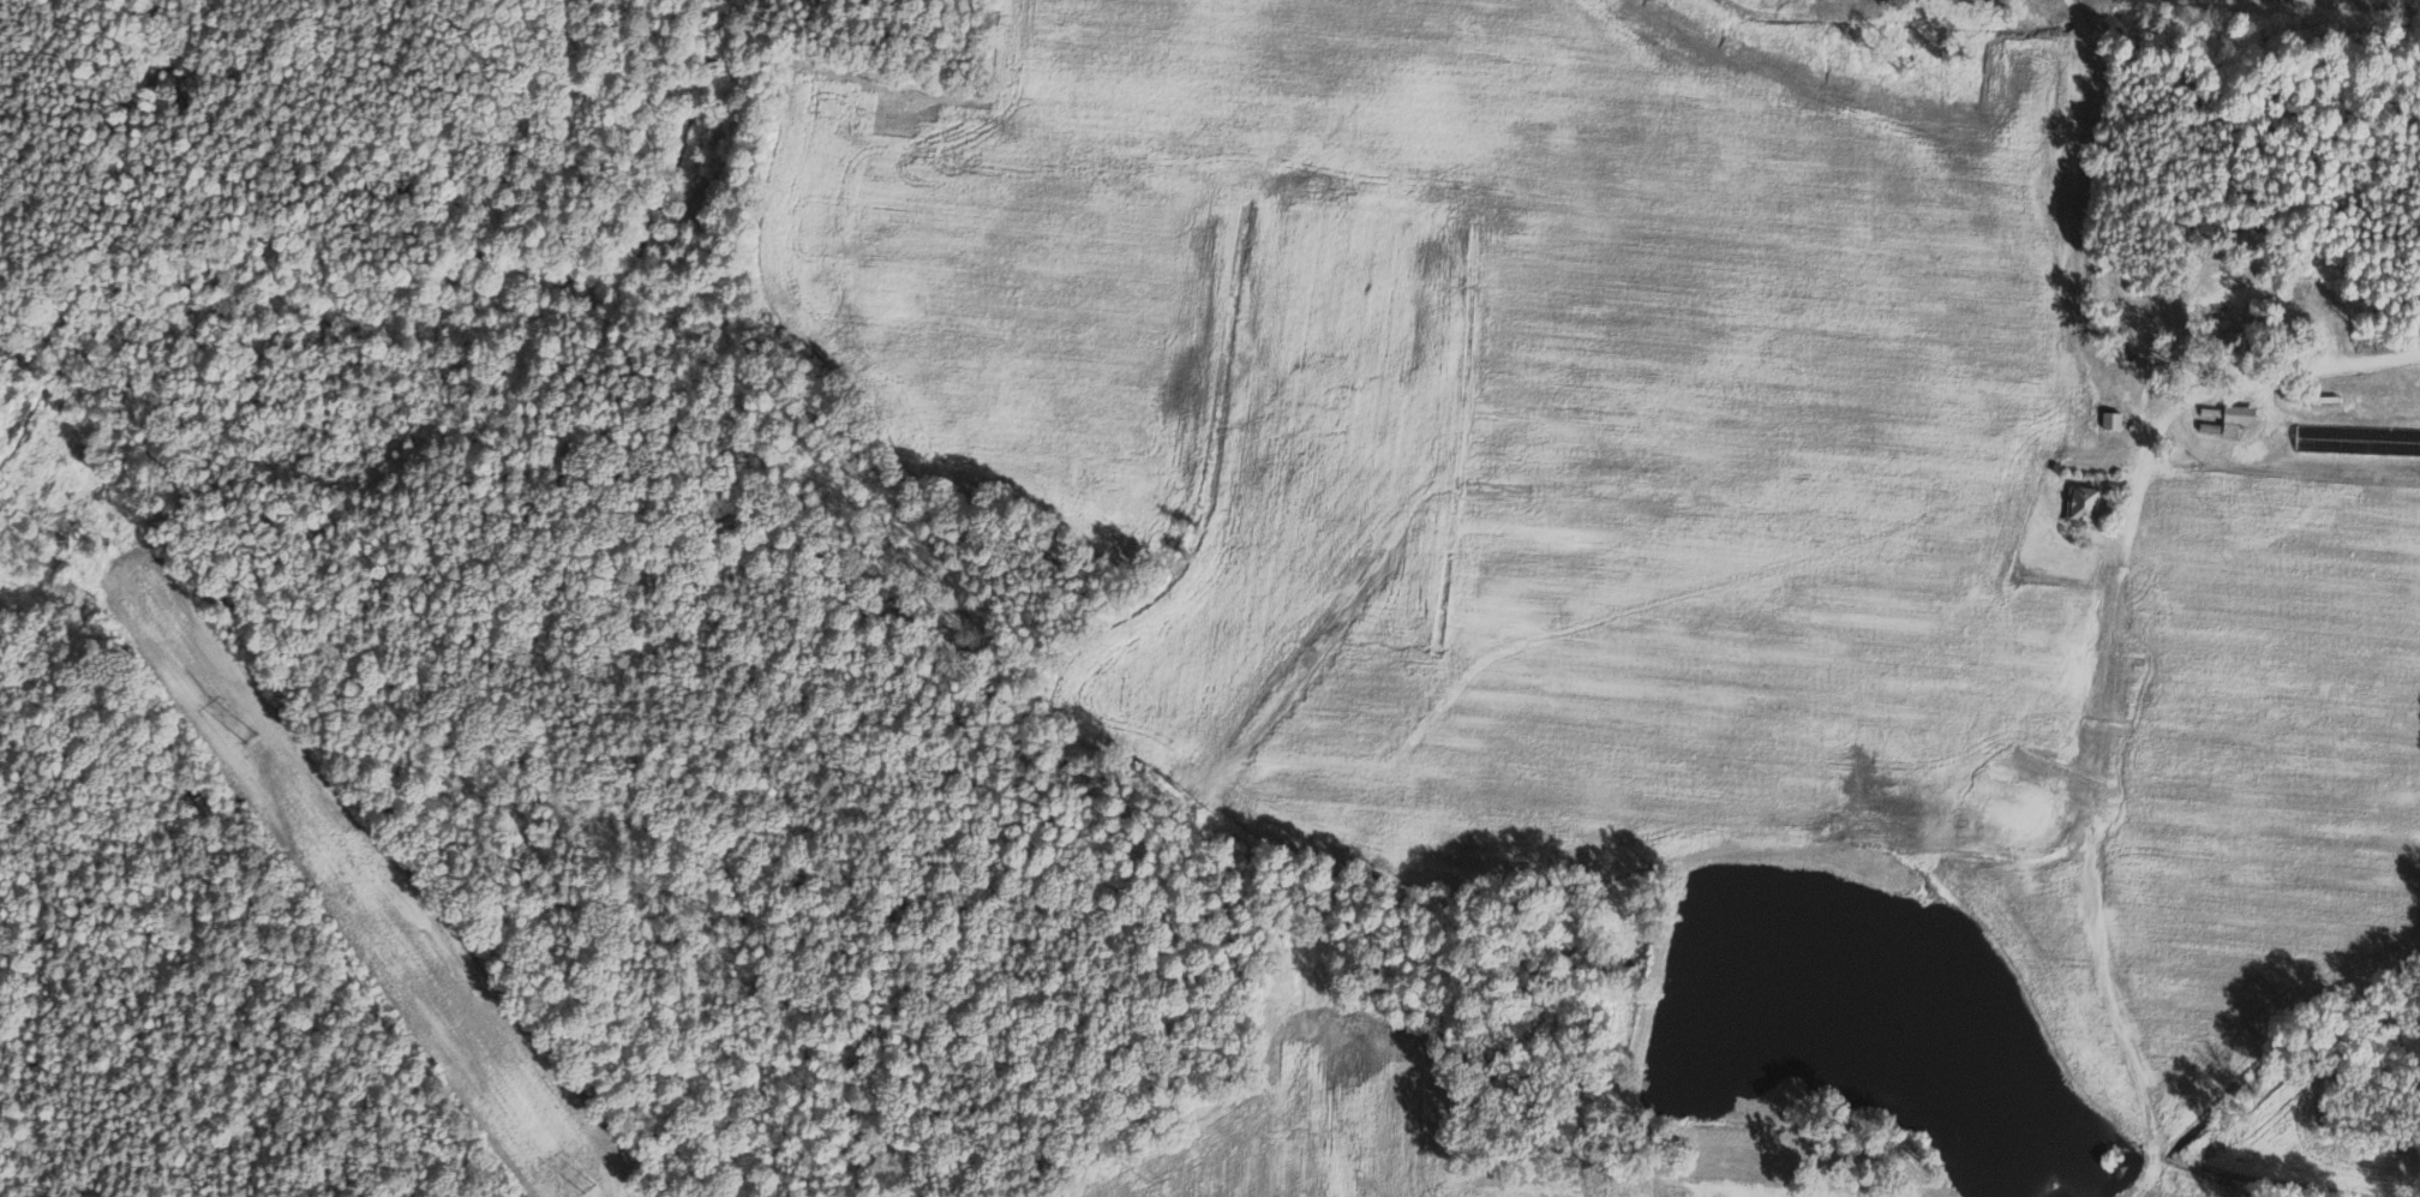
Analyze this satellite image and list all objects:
road: (2342, 363)
road: (2180, 406)
building: (2117, 419)
building: (2236, 420)
building: (2091, 503)
power tower: (244, 741)
power tower: (582, 1195)

